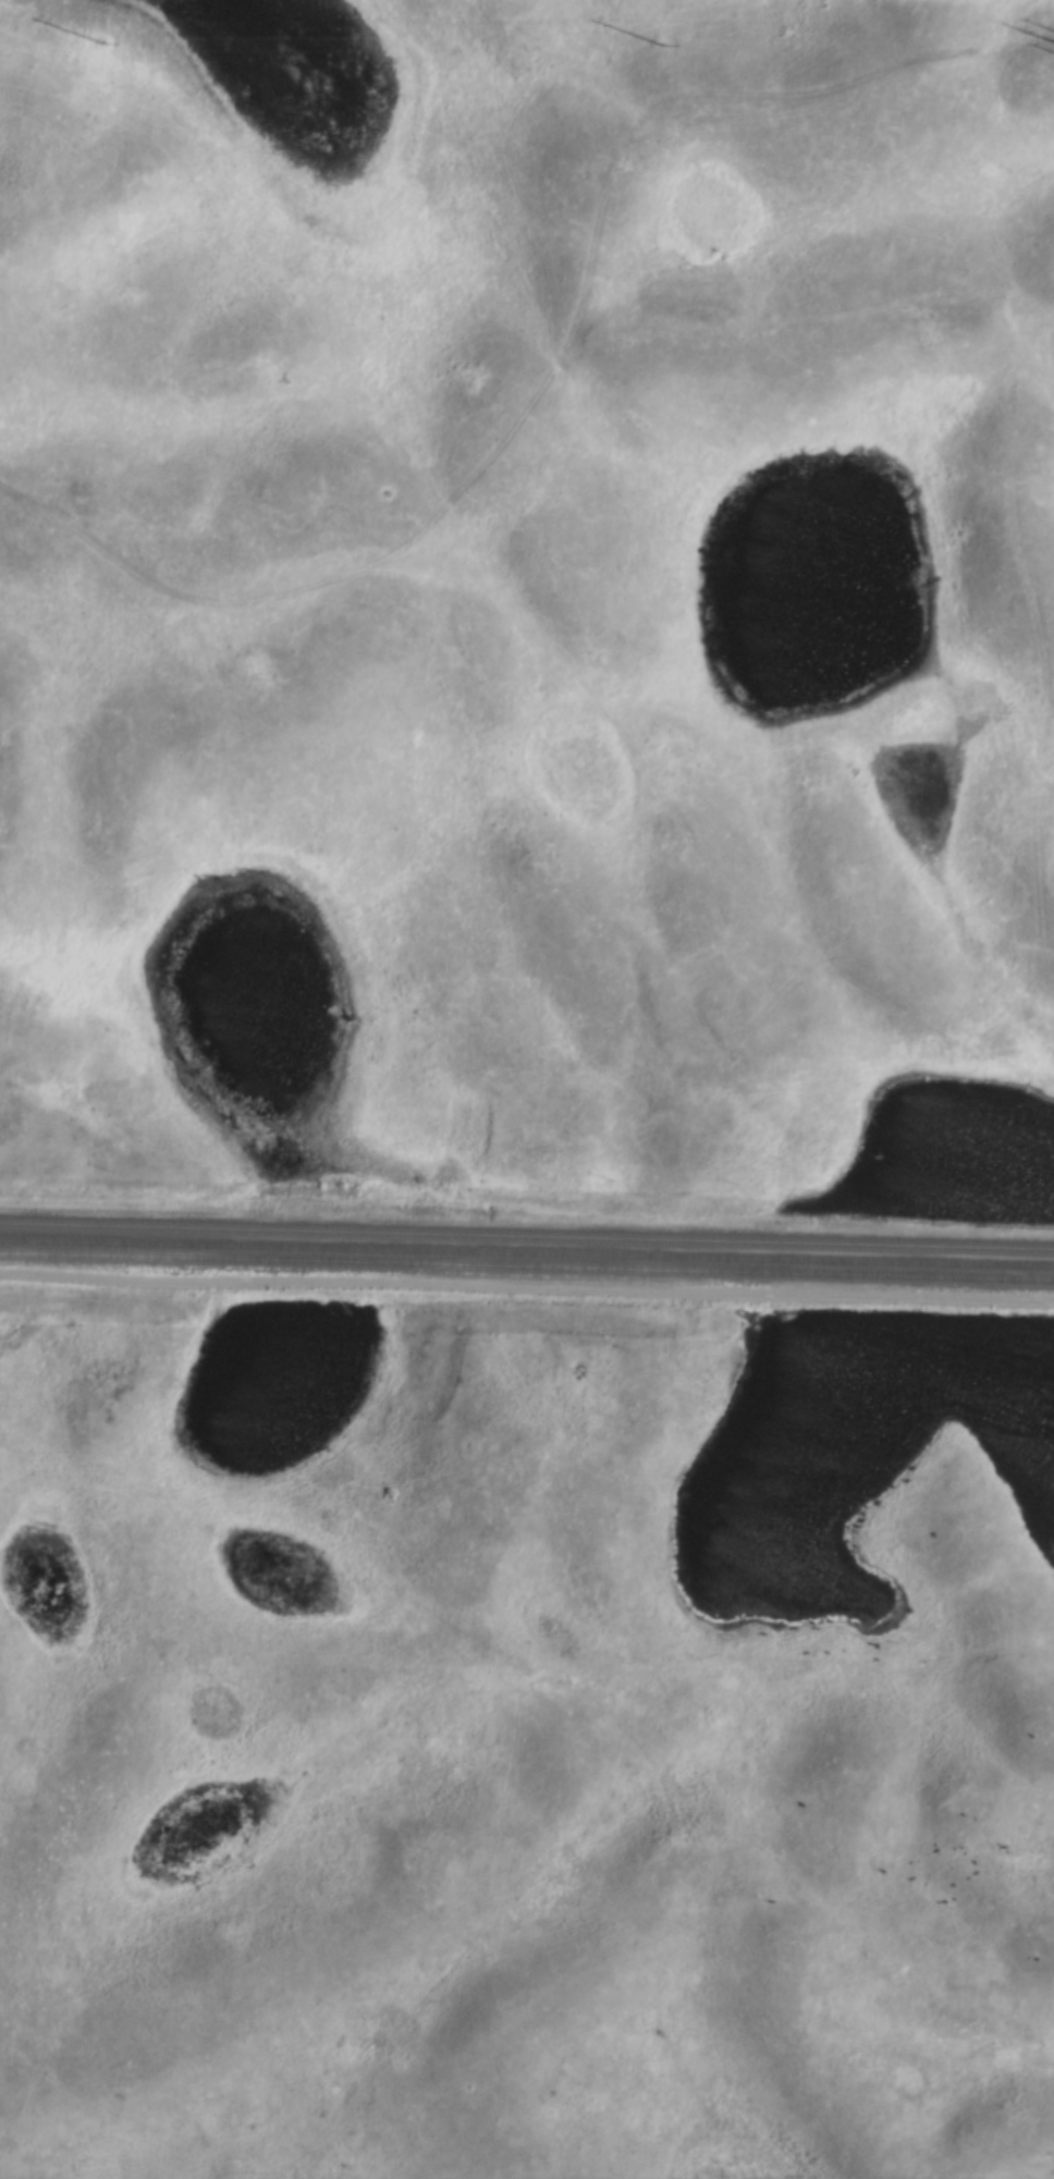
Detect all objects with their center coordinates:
railway: (527, 1240)
railway: (527, 1253)
railway: (527, 1268)
road: (526, 1292)
road: (373, 1954)

